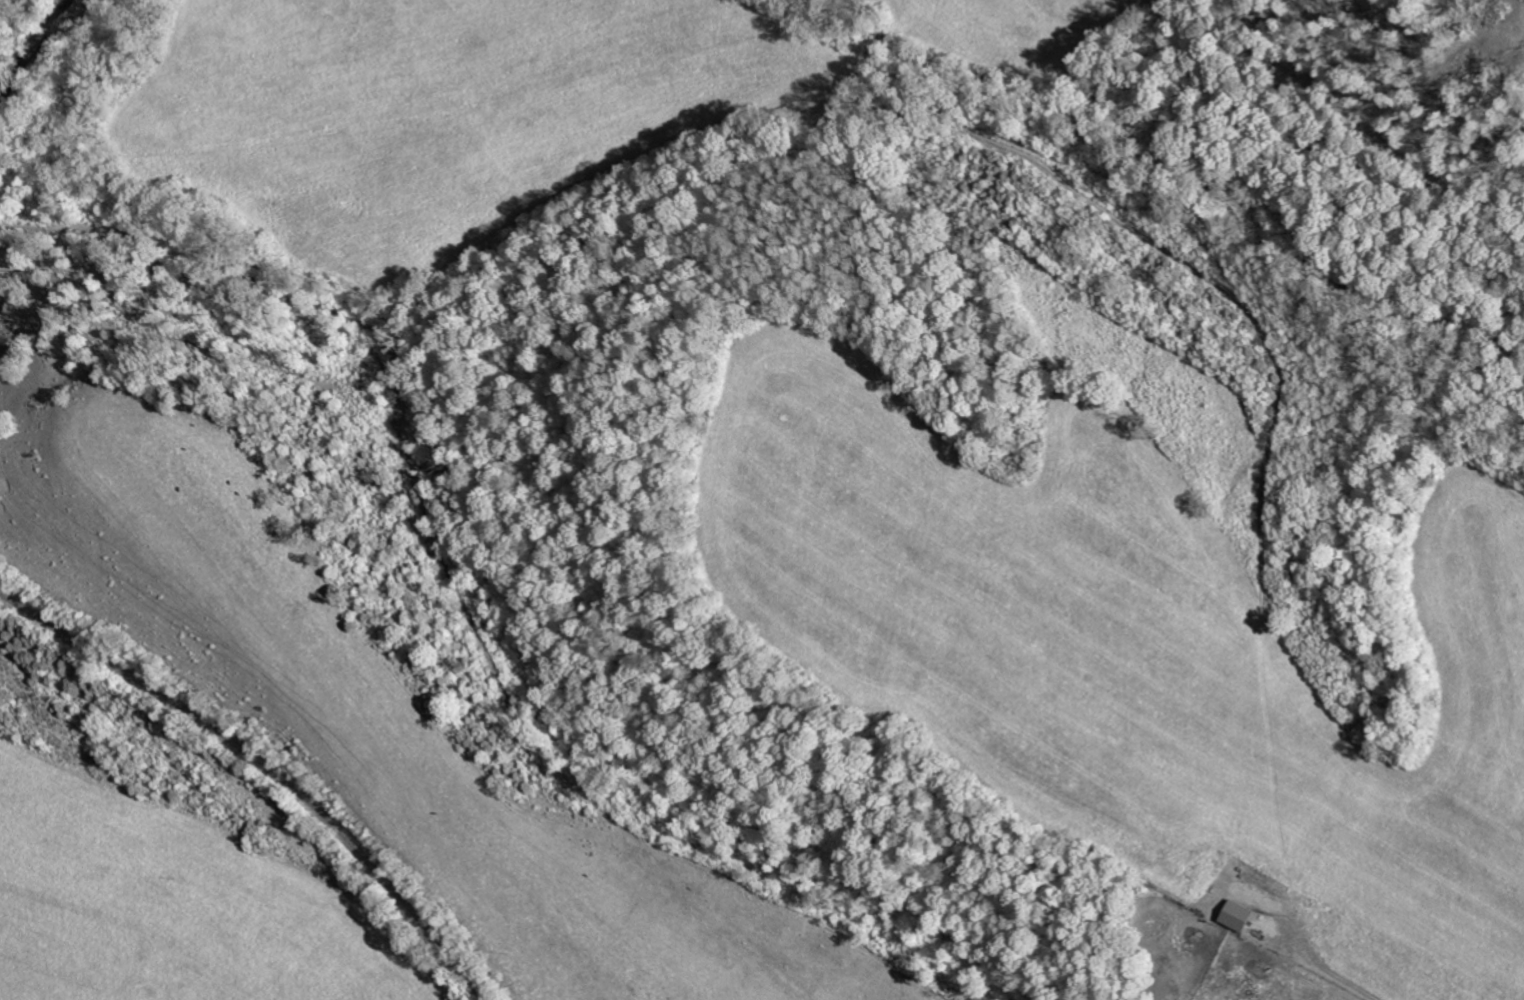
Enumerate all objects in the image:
road: (266, 767)
building: (1237, 916)

